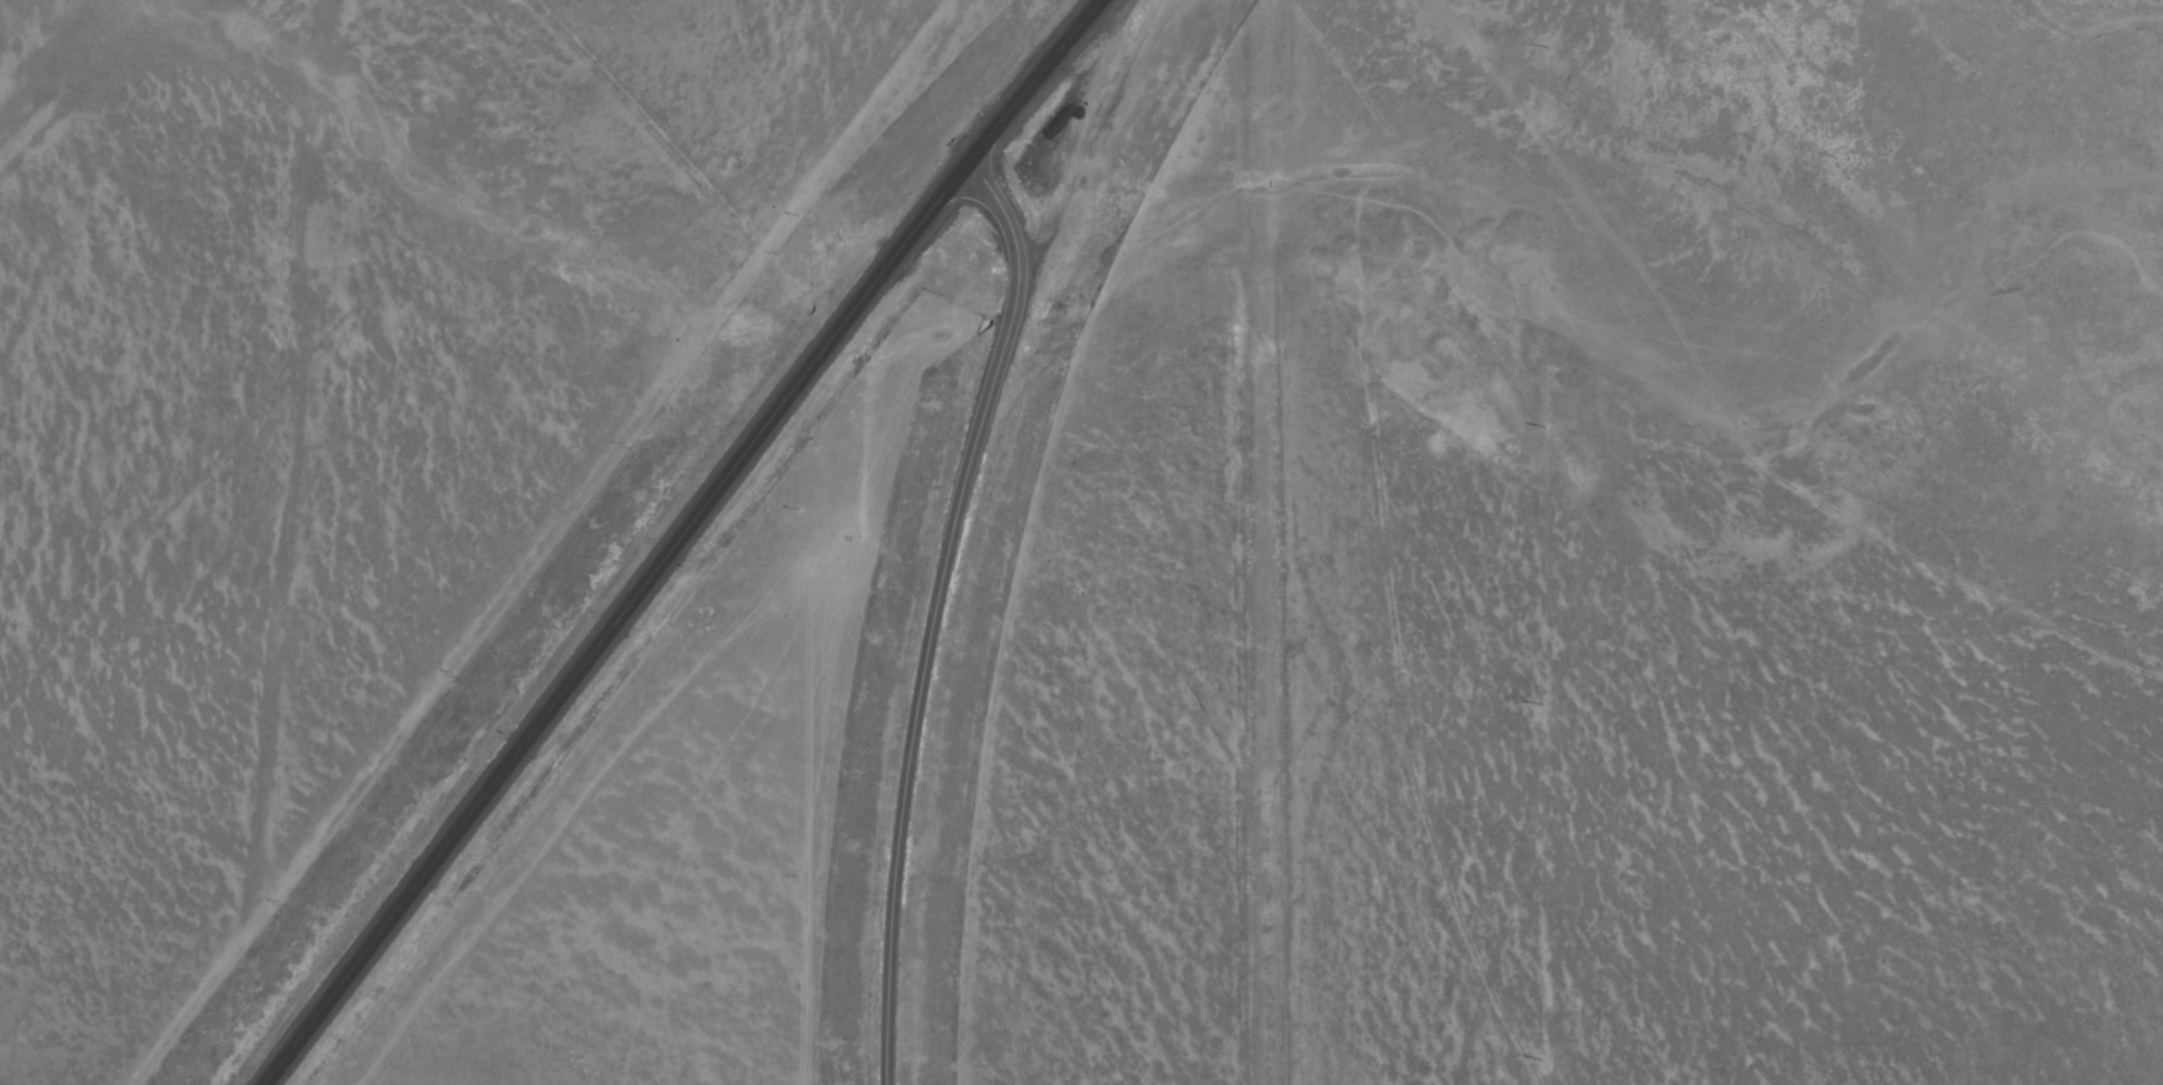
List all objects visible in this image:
road: (17, 22)
road: (677, 539)
road: (1322, 542)
road: (933, 613)

